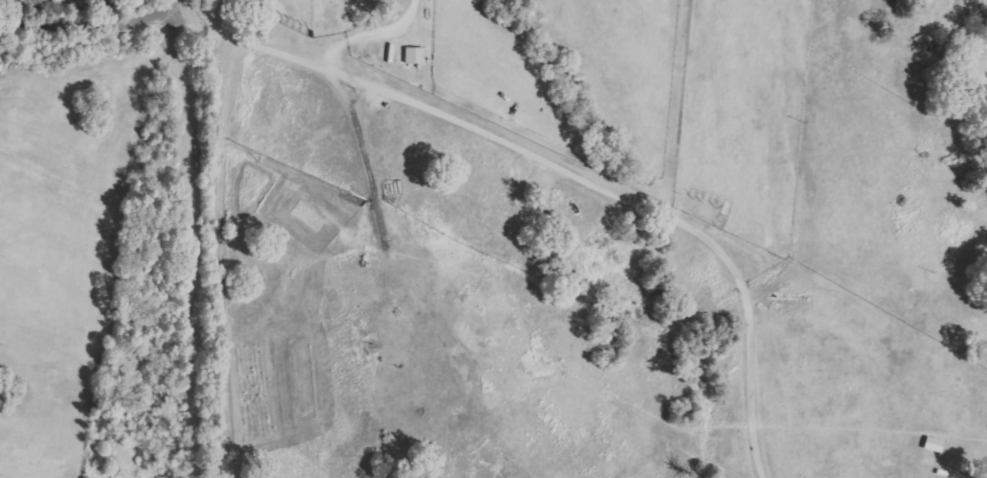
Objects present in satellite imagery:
road: (88, 22)
building: (930, 445)

